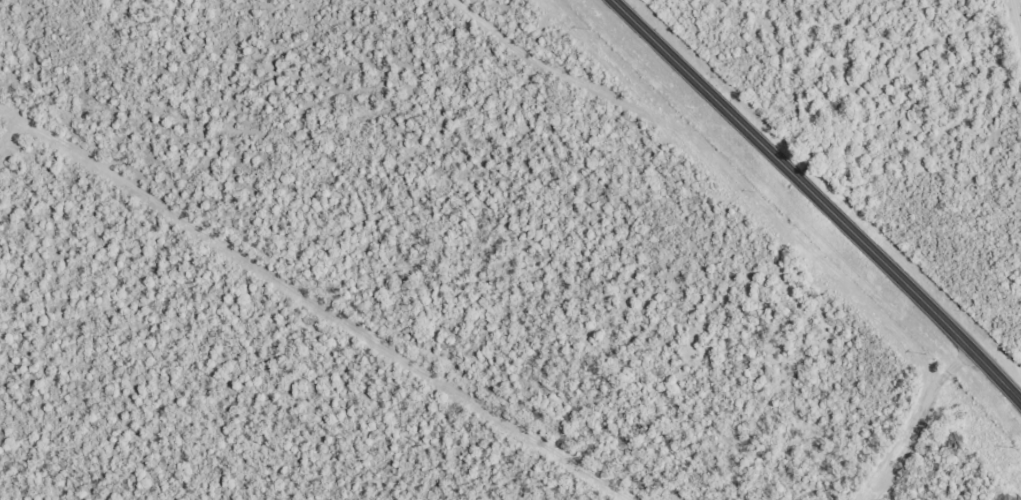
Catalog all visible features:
road: (1018, 10)
road: (817, 200)

